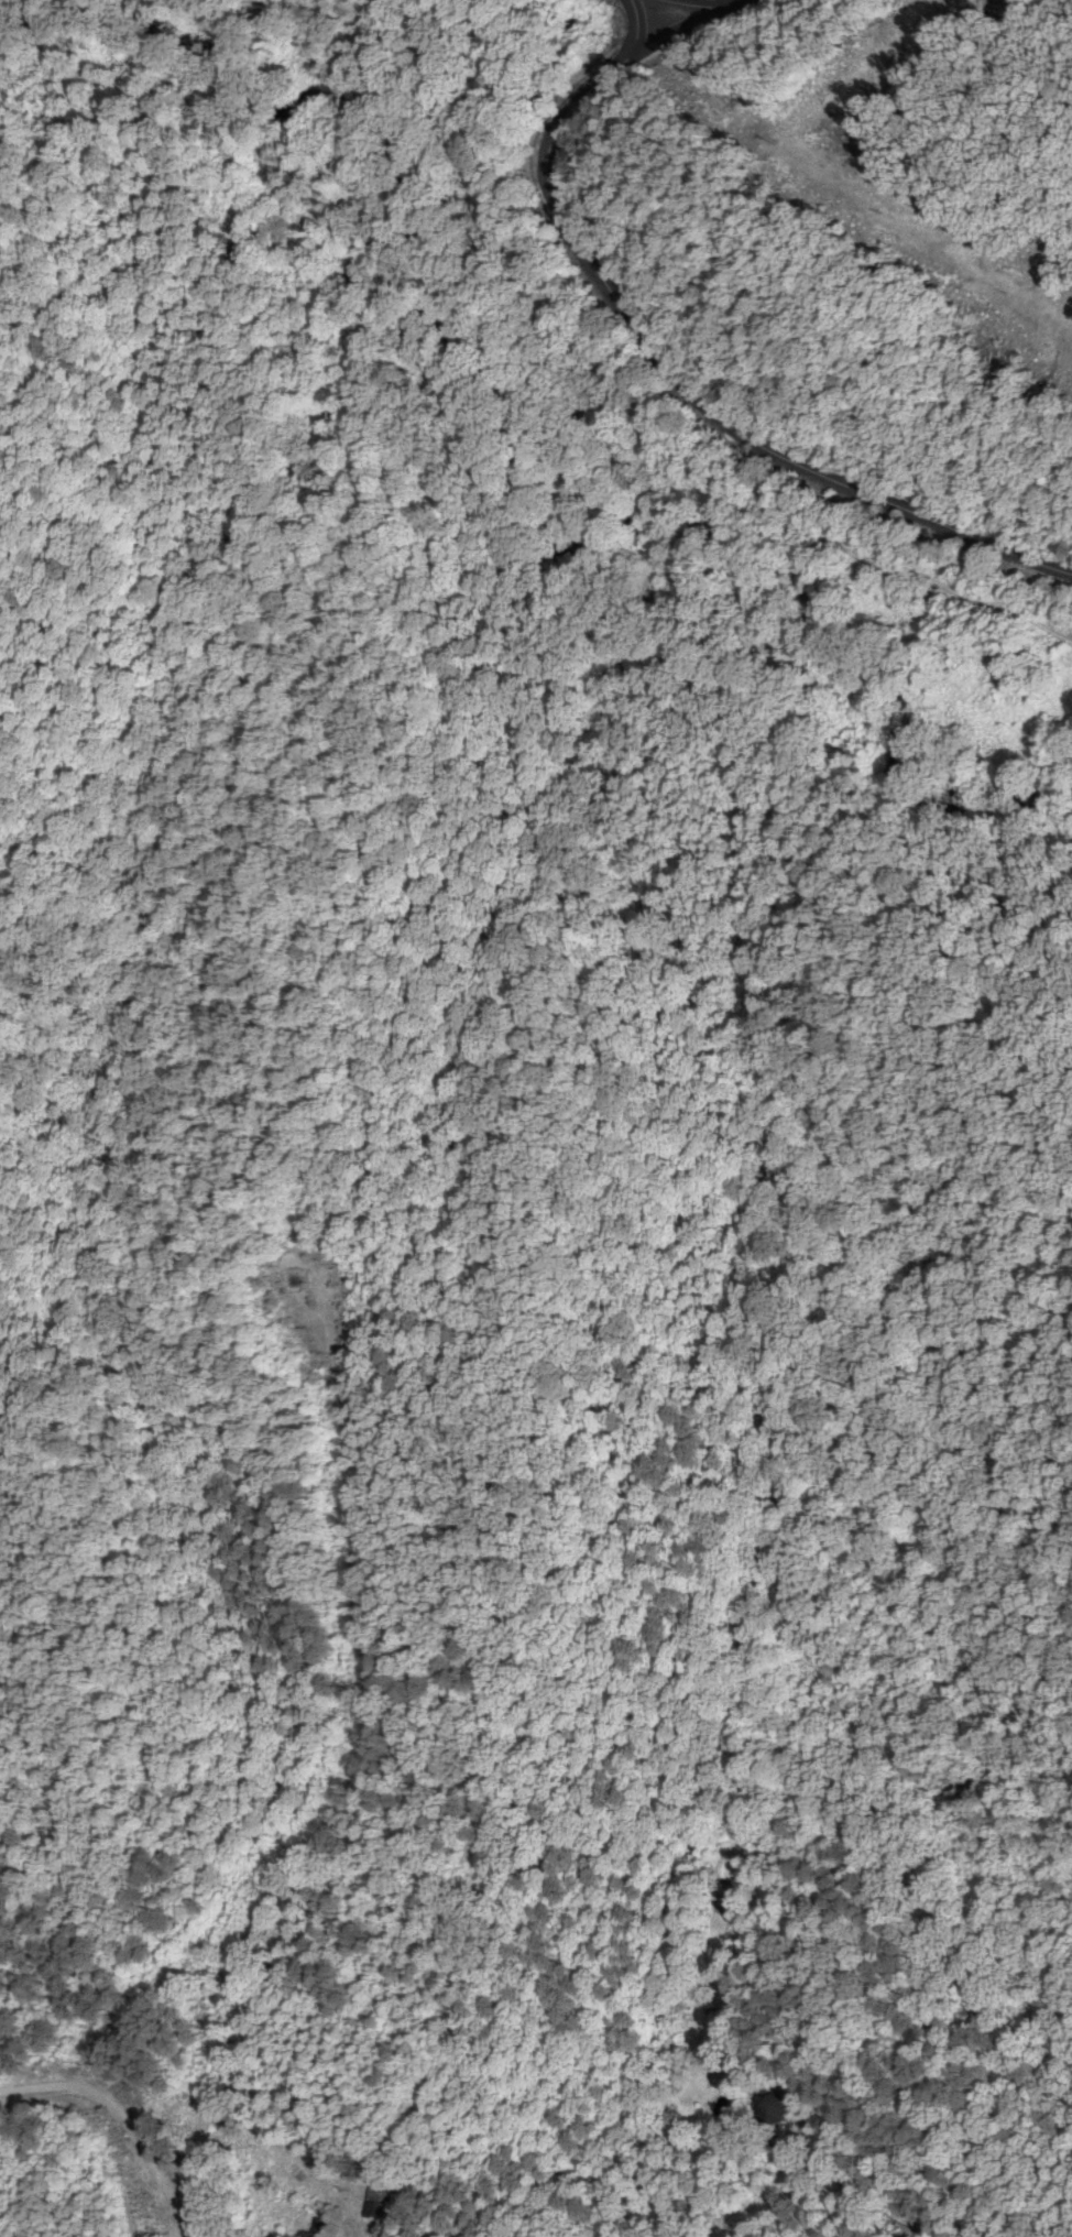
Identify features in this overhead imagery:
road: (637, 28)
road: (522, 231)
road: (655, 346)
road: (751, 1365)
road: (108, 2134)
building: (378, 2204)

